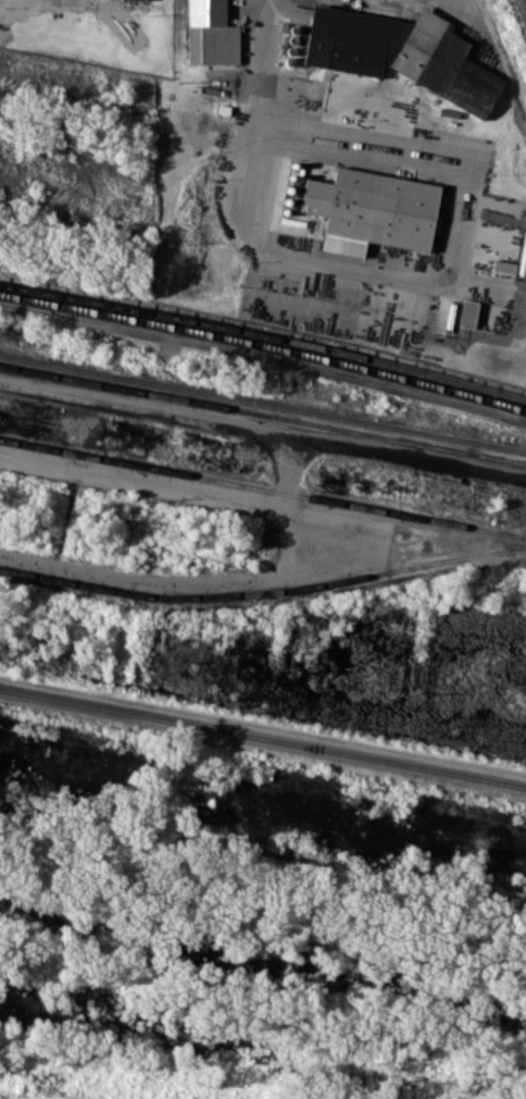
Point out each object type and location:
building: (210, 33)
building: (401, 50)
road: (256, 124)
building: (371, 206)
building: (467, 313)
railway: (264, 334)
railway: (264, 346)
railway: (263, 402)
railway: (263, 415)
road: (175, 486)
railway: (262, 487)
road: (187, 582)
railway: (263, 592)
railway: (263, 734)

